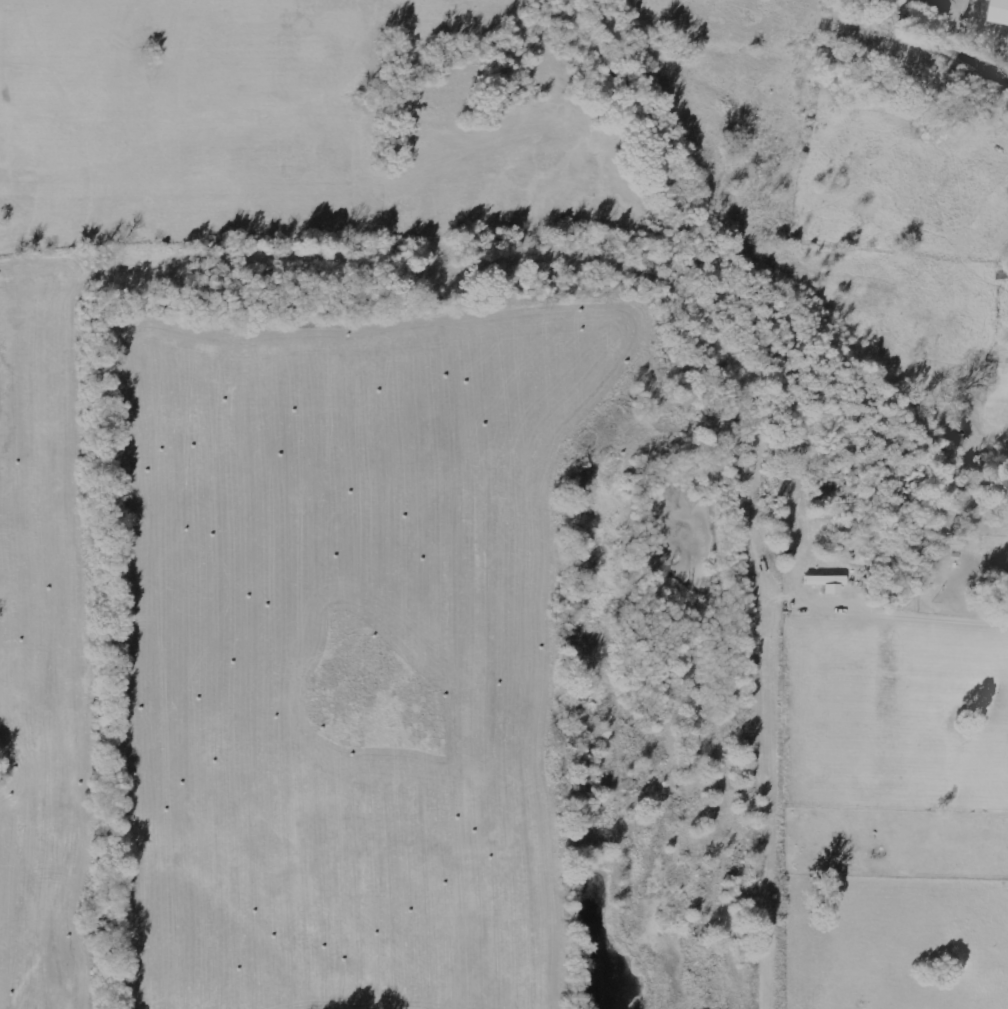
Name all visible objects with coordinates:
building: (1003, 13)
road: (941, 40)
building: (827, 583)

